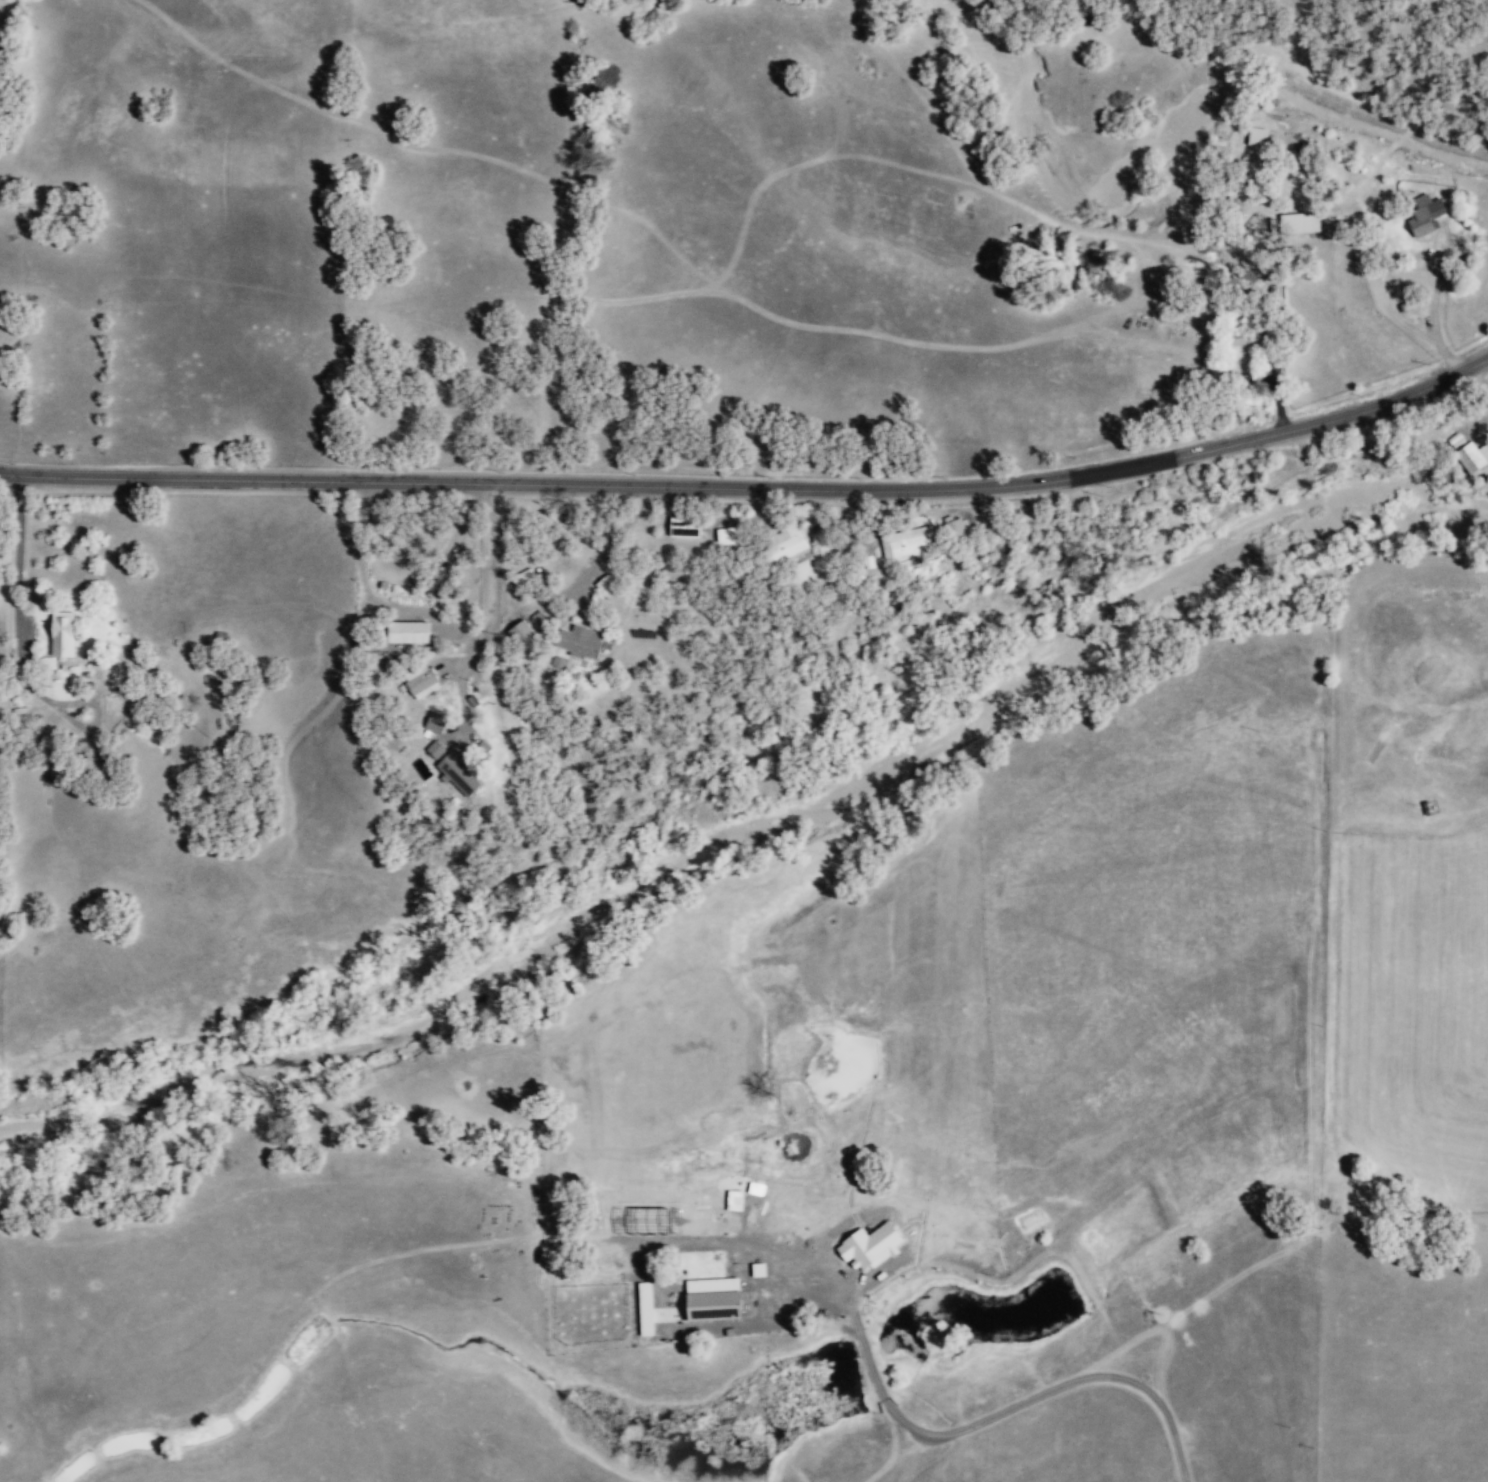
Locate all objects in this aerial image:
building: (1256, 137)
building: (1424, 215)
building: (1298, 223)
building: (1238, 360)
building: (1466, 454)
road: (753, 489)
building: (682, 527)
building: (727, 536)
building: (904, 542)
building: (786, 545)
building: (520, 578)
building: (437, 579)
building: (605, 586)
road: (445, 620)
building: (538, 621)
building: (520, 631)
building: (406, 632)
building: (59, 638)
building: (578, 641)
building: (556, 662)
building: (421, 684)
road: (456, 690)
building: (433, 722)
building: (434, 749)
building: (456, 771)
river: (749, 815)
road: (1330, 1049)
building: (754, 1189)
building: (733, 1200)
road: (896, 1208)
road: (656, 1242)
building: (868, 1247)
road: (327, 1280)
road: (1237, 1281)
building: (711, 1299)
building: (644, 1309)
road: (1004, 1411)
road: (891, 1447)
road: (136, 1479)

